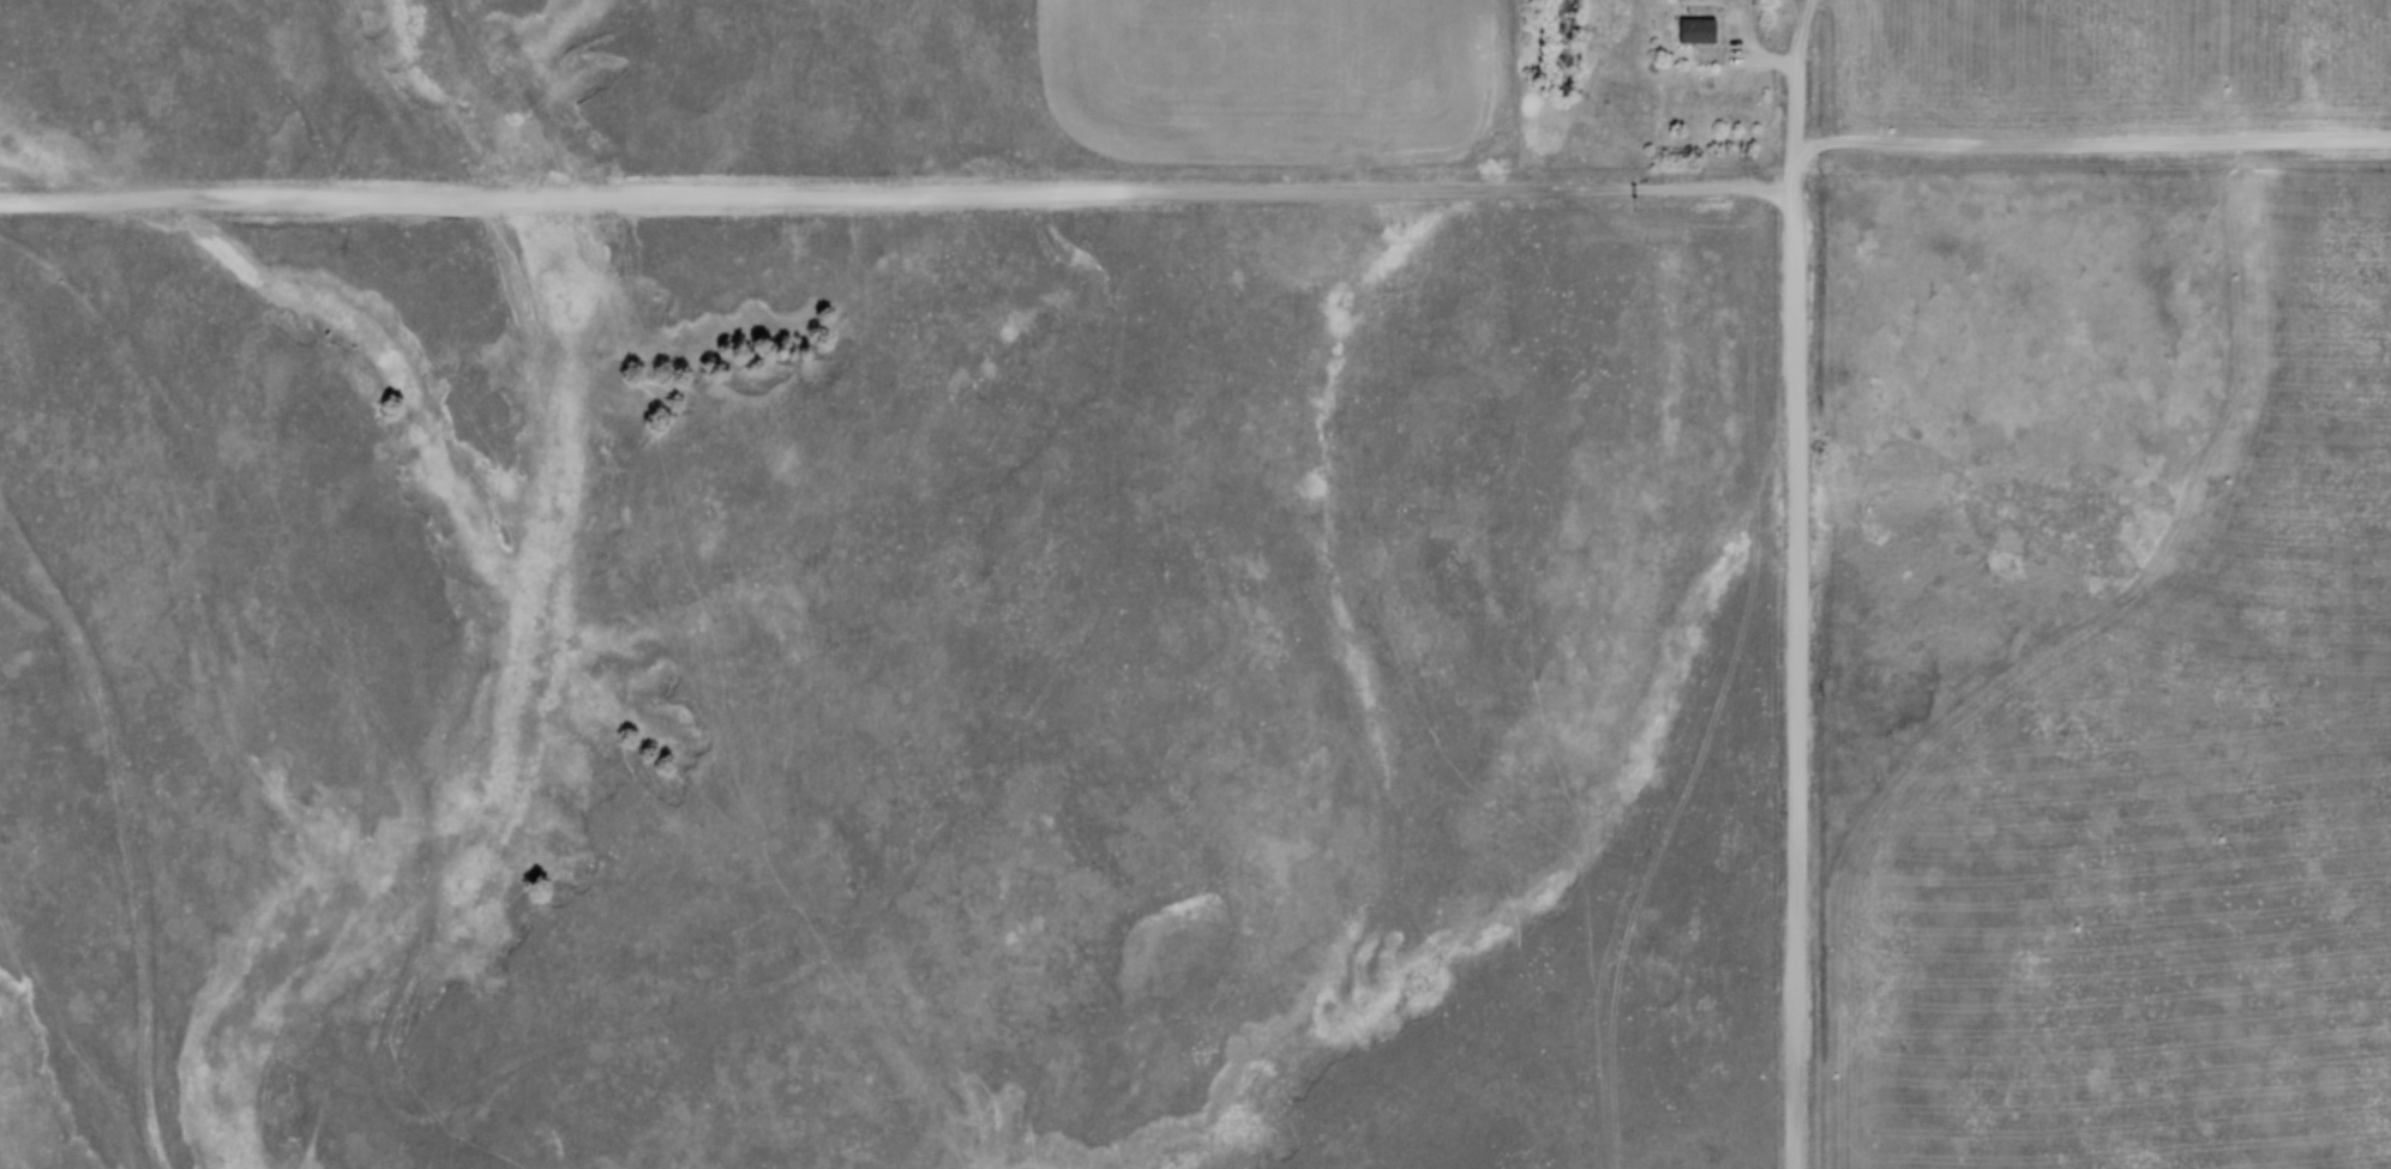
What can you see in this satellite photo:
building: (1694, 29)
road: (1339, 229)
road: (130, 803)

